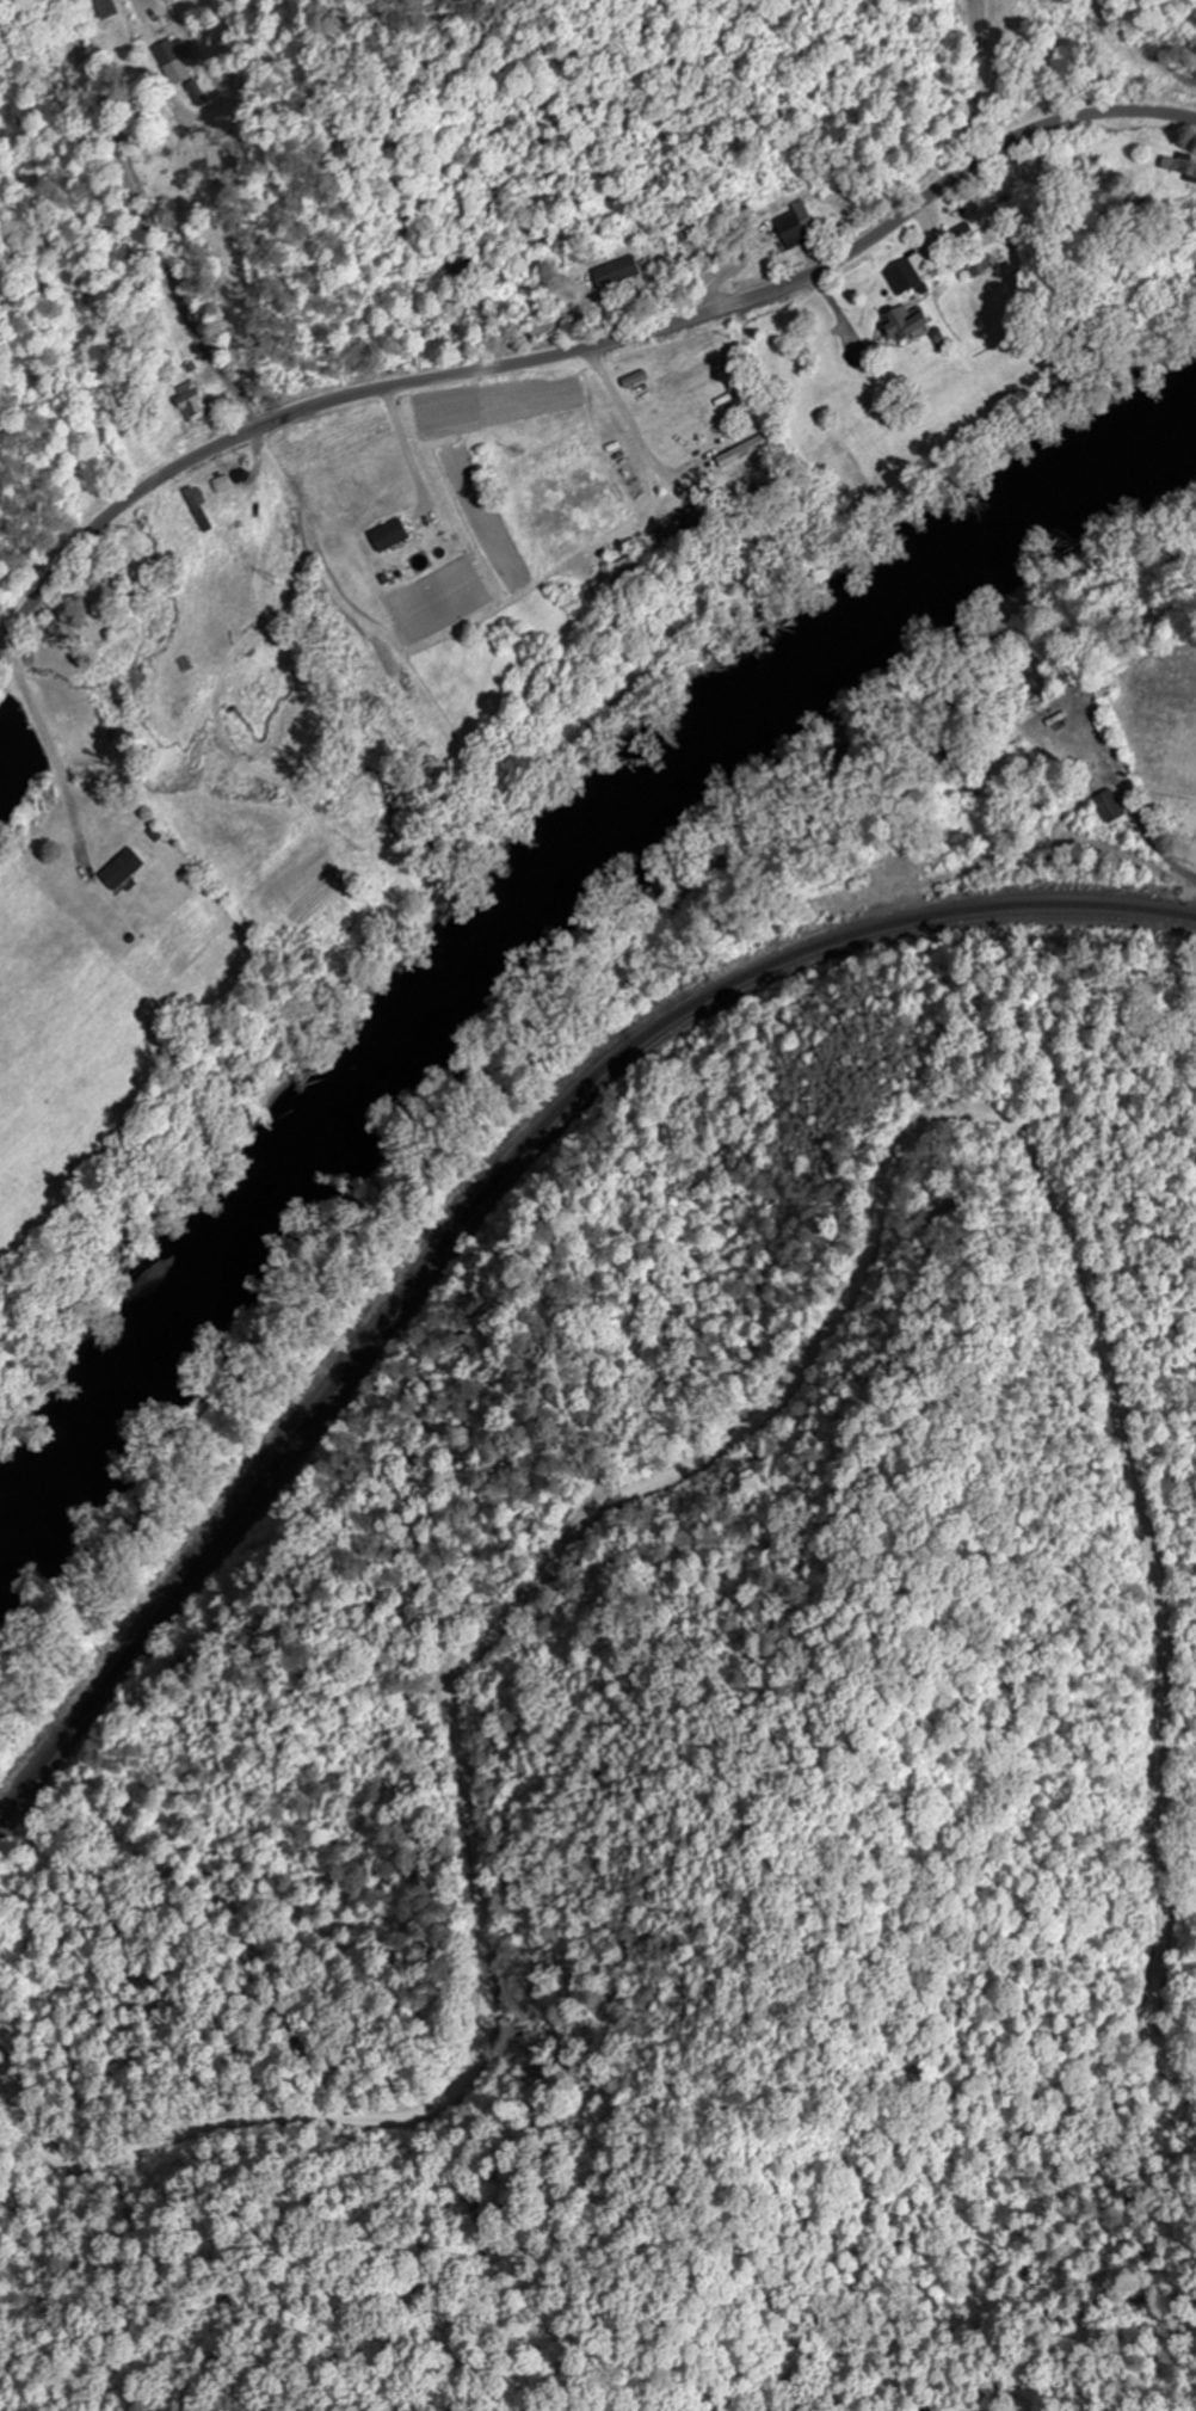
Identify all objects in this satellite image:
building: (105, 8)
building: (171, 53)
building: (196, 94)
building: (1178, 166)
building: (793, 227)
building: (615, 273)
building: (901, 277)
building: (901, 325)
road: (578, 352)
building: (191, 404)
building: (198, 510)
building: (691, 523)
building: (390, 536)
building: (1110, 805)
park: (1180, 822)
building: (122, 869)
road: (1184, 875)
river: (526, 902)
railway: (493, 1195)
road: (750, 1416)

